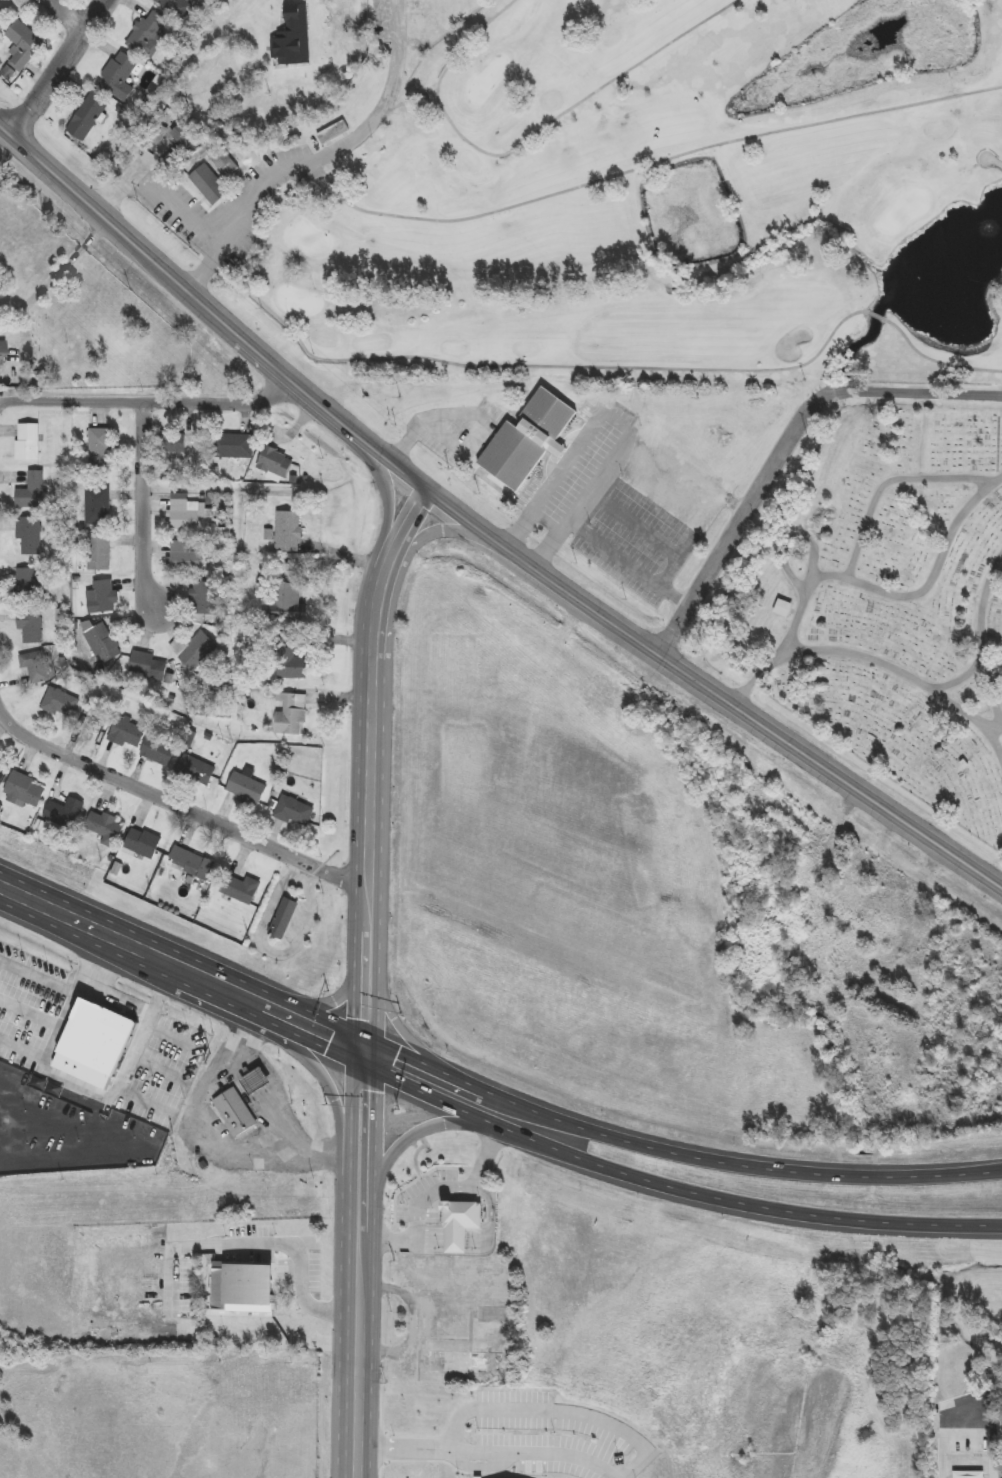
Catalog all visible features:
road: (294, 0)
building: (176, 6)
building: (1, 9)
road: (71, 13)
park: (425, 21)
building: (149, 34)
building: (293, 37)
building: (18, 49)
road: (255, 65)
road: (58, 66)
building: (120, 76)
road: (177, 79)
building: (88, 117)
building: (334, 132)
road: (530, 139)
road: (341, 147)
road: (995, 160)
building: (224, 163)
road: (650, 165)
building: (209, 184)
park: (631, 200)
parking lot: (229, 204)
road: (181, 208)
park: (905, 210)
building: (2, 351)
road: (632, 367)
road: (149, 398)
road: (478, 412)
road: (622, 423)
parking lot: (458, 428)
building: (528, 440)
building: (28, 442)
building: (175, 443)
building: (233, 446)
building: (100, 448)
road: (785, 449)
road: (556, 451)
building: (275, 463)
road: (889, 482)
building: (32, 492)
road: (146, 501)
building: (99, 506)
parking lot: (610, 508)
building: (187, 514)
road: (387, 518)
road: (480, 531)
building: (288, 532)
road: (653, 535)
building: (29, 537)
road: (793, 539)
road: (413, 549)
building: (99, 553)
building: (185, 557)
road: (632, 564)
building: (30, 586)
road: (899, 597)
building: (103, 598)
building: (203, 599)
building: (288, 604)
park: (892, 605)
building: (783, 610)
building: (31, 627)
road: (983, 638)
building: (103, 644)
building: (201, 650)
road: (866, 656)
building: (291, 664)
building: (148, 666)
building: (35, 668)
road: (964, 678)
building: (61, 704)
building: (291, 715)
building: (97, 722)
building: (128, 733)
road: (996, 739)
building: (159, 751)
building: (196, 771)
building: (1, 777)
building: (246, 790)
building: (25, 791)
road: (180, 803)
building: (294, 813)
building: (65, 814)
building: (105, 828)
building: (143, 843)
building: (191, 864)
building: (240, 890)
building: (284, 917)
road: (277, 952)
road: (183, 969)
road: (37, 977)
road: (369, 978)
road: (336, 995)
road: (125, 996)
road: (30, 1014)
road: (404, 1025)
road: (175, 1038)
building: (93, 1043)
road: (24, 1049)
traffic signals: (368, 1054)
road: (159, 1066)
road: (64, 1080)
building: (256, 1081)
gas station: (256, 1081)
road: (145, 1100)
road: (340, 1110)
building: (235, 1113)
road: (207, 1136)
road: (410, 1139)
road: (677, 1154)
road: (671, 1187)
road: (432, 1190)
parking lot: (423, 1193)
building: (458, 1222)
road: (483, 1240)
road: (262, 1242)
parking lot: (240, 1259)
building: (242, 1290)
road: (418, 1317)
building: (487, 1317)
building: (288, 1322)
building: (471, 1358)
road: (984, 1403)
road: (560, 1409)
road: (380, 1431)
parking lot: (547, 1435)
road: (490, 1451)
building: (973, 1458)
road: (478, 1466)

